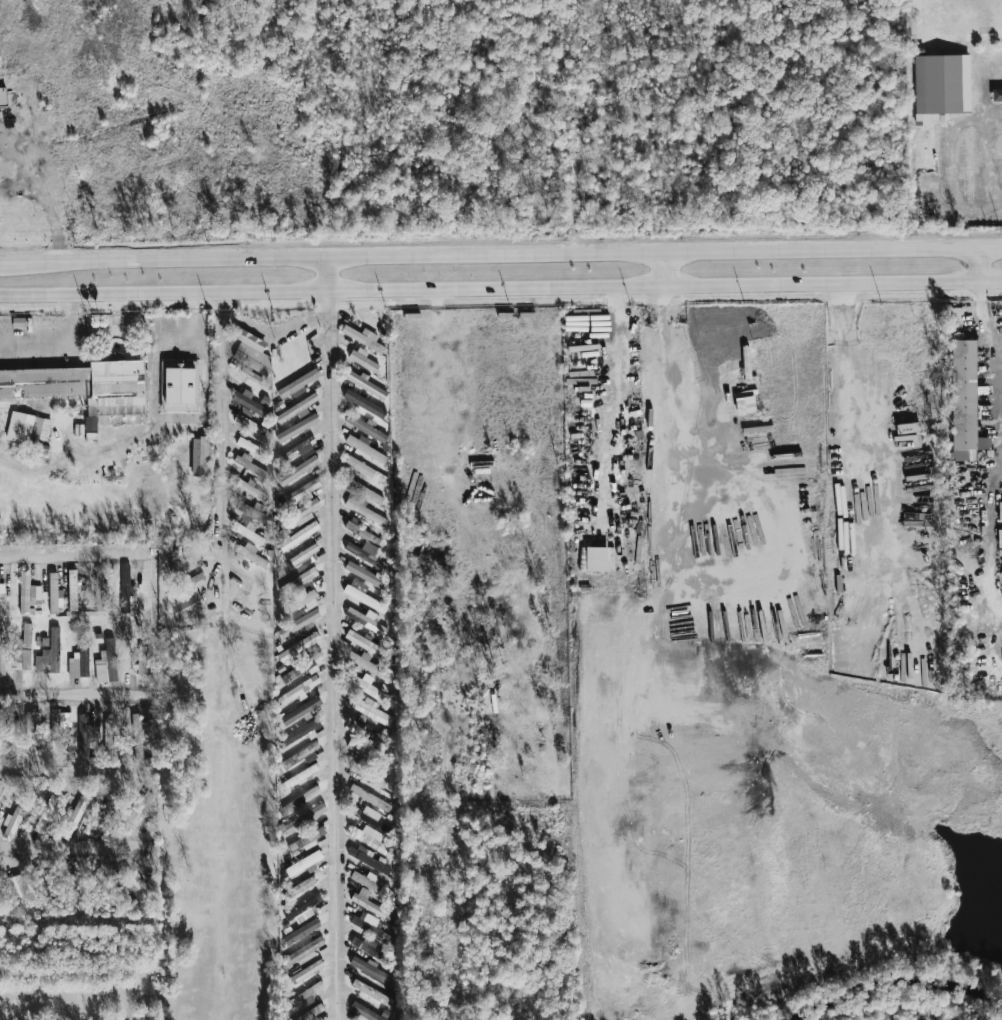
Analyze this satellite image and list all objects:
park: (961, 16)
building: (943, 85)
building: (996, 95)
building: (2, 98)
road: (990, 163)
road: (952, 169)
road: (507, 254)
road: (6, 261)
road: (978, 263)
road: (661, 270)
road: (501, 290)
road: (275, 330)
building: (368, 340)
road: (998, 342)
road: (61, 346)
building: (251, 352)
road: (996, 357)
building: (363, 361)
building: (44, 383)
road: (667, 384)
building: (297, 385)
building: (365, 385)
building: (115, 387)
building: (180, 387)
building: (965, 393)
building: (249, 404)
building: (364, 404)
building: (745, 406)
building: (251, 426)
building: (27, 428)
building: (296, 428)
building: (365, 428)
building: (250, 447)
building: (365, 449)
building: (299, 450)
road: (852, 455)
building: (203, 456)
road: (222, 456)
building: (248, 465)
building: (297, 470)
building: (366, 470)
building: (251, 490)
building: (302, 491)
building: (363, 491)
building: (999, 510)
building: (365, 512)
building: (298, 515)
building: (258, 516)
building: (361, 532)
building: (249, 533)
building: (298, 537)
building: (999, 538)
building: (365, 551)
road: (72, 555)
building: (251, 555)
building: (301, 556)
building: (365, 575)
building: (298, 581)
building: (358, 585)
building: (99, 589)
building: (124, 589)
building: (72, 590)
building: (26, 594)
building: (53, 594)
building: (364, 599)
building: (185, 600)
building: (297, 603)
building: (372, 616)
building: (298, 623)
building: (26, 636)
road: (333, 639)
building: (363, 643)
building: (298, 647)
building: (49, 654)
building: (1, 657)
building: (21, 659)
building: (141, 660)
building: (79, 663)
building: (106, 663)
building: (301, 668)
building: (367, 688)
building: (299, 690)
road: (75, 695)
building: (300, 711)
building: (371, 711)
building: (60, 720)
building: (1, 727)
building: (32, 728)
building: (300, 732)
building: (111, 733)
building: (138, 734)
building: (84, 735)
building: (300, 755)
building: (367, 776)
building: (299, 777)
building: (369, 798)
building: (137, 812)
building: (76, 813)
building: (45, 814)
building: (304, 818)
building: (12, 821)
building: (368, 838)
building: (306, 839)
road: (74, 847)
building: (367, 859)
building: (303, 864)
building: (367, 881)
building: (45, 882)
building: (2, 887)
building: (300, 887)
building: (21, 892)
building: (367, 902)
building: (368, 925)
building: (301, 932)
building: (366, 947)
building: (301, 954)
building: (370, 970)
building: (307, 971)
road: (76, 980)
building: (372, 993)
building: (304, 995)

